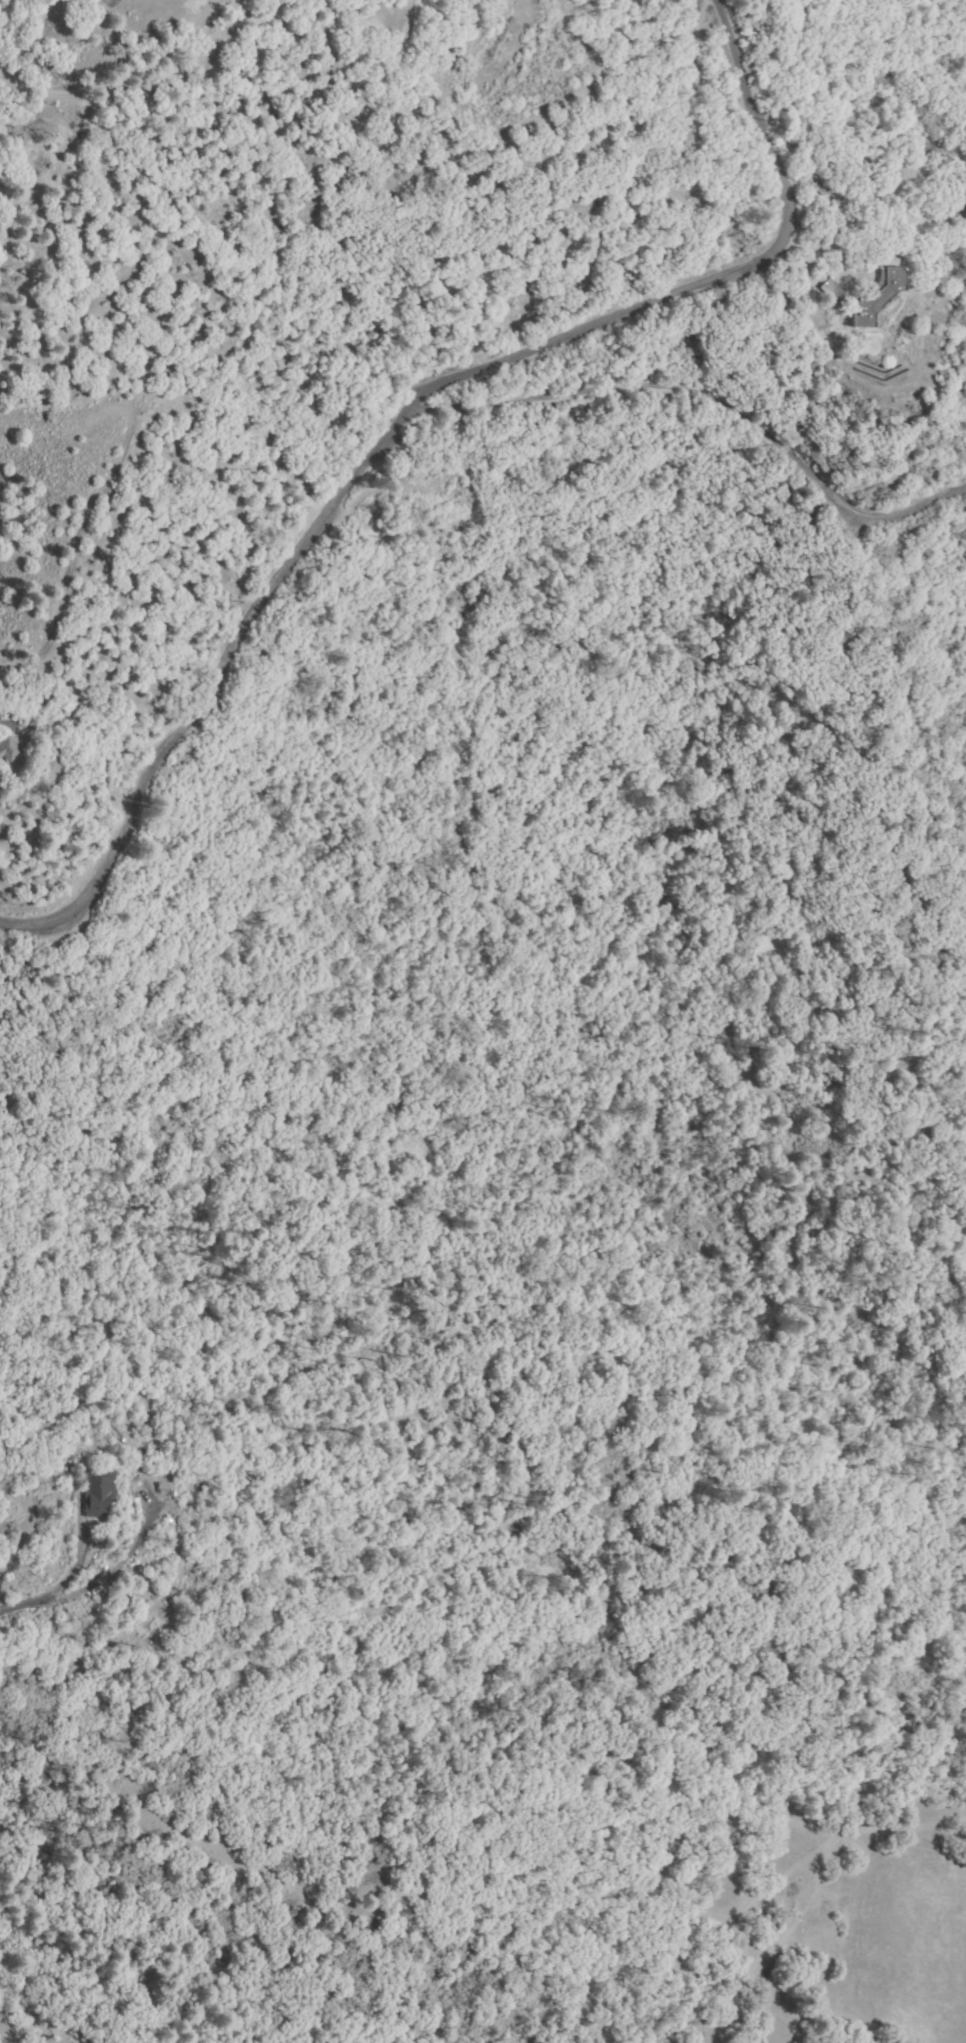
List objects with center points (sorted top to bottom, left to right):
building: (833, 292)
building: (820, 298)
building: (879, 299)
road: (697, 401)
road: (395, 408)
building: (8, 748)
building: (99, 1496)
road: (18, 1608)

